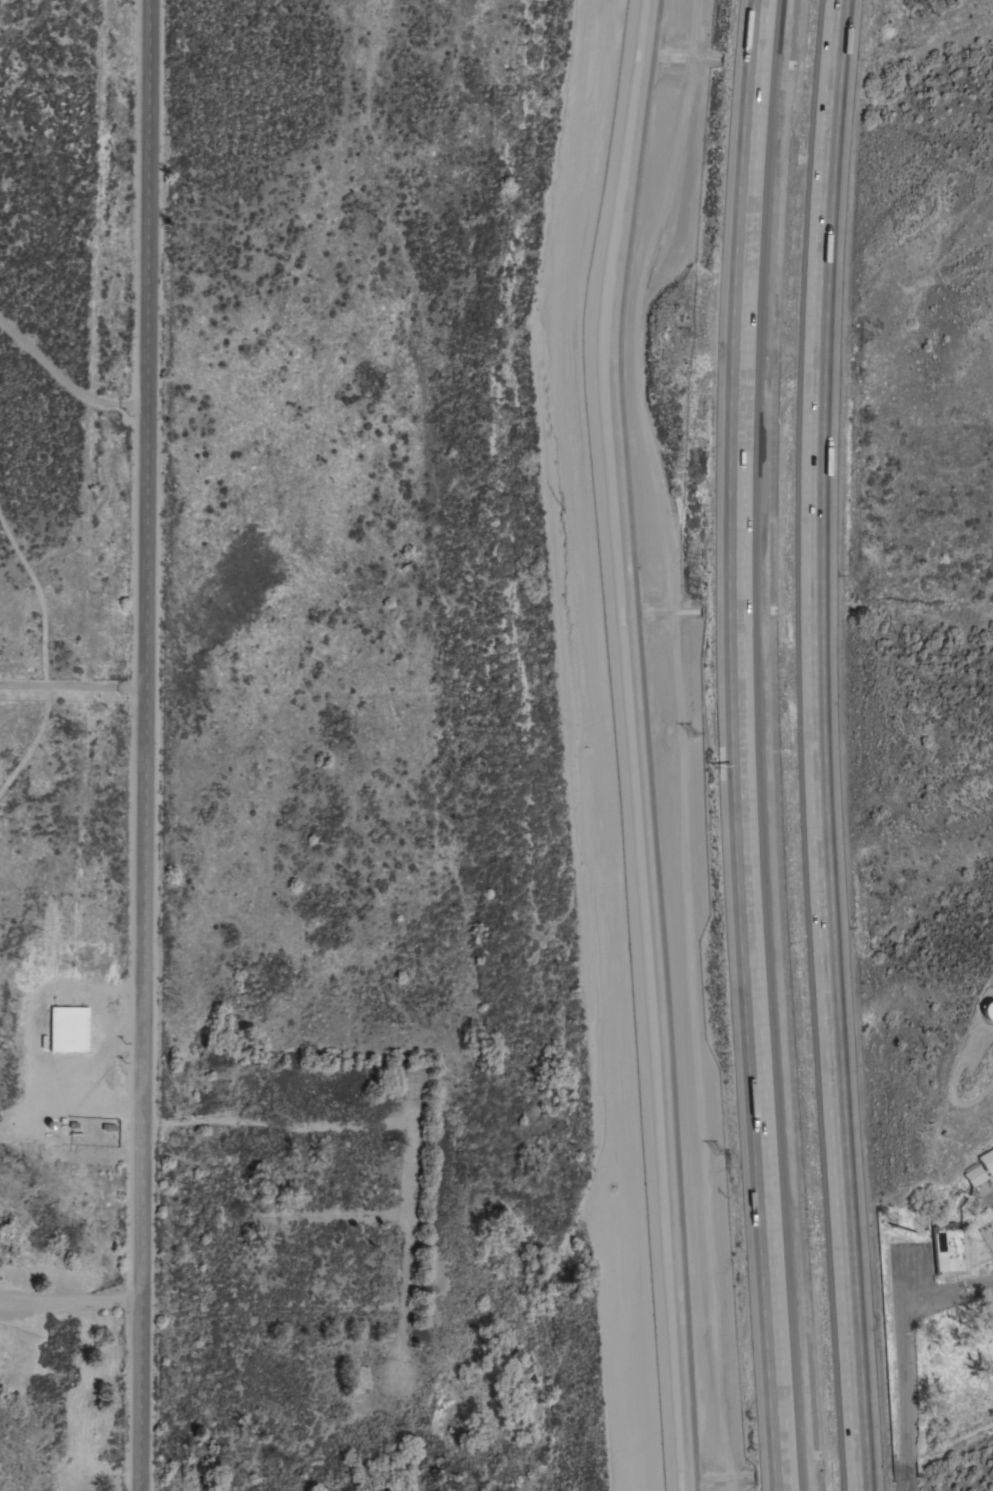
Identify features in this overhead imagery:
power tower: (683, 249)
road: (147, 562)
road: (73, 686)
power tower: (694, 737)
road: (737, 745)
road: (819, 745)
building: (988, 1011)
water tower: (987, 1012)
road: (277, 1122)
power tower: (720, 1156)
building: (988, 1161)
building: (975, 1174)
building: (948, 1248)
road: (71, 1295)
road: (141, 1307)
road: (904, 1348)

